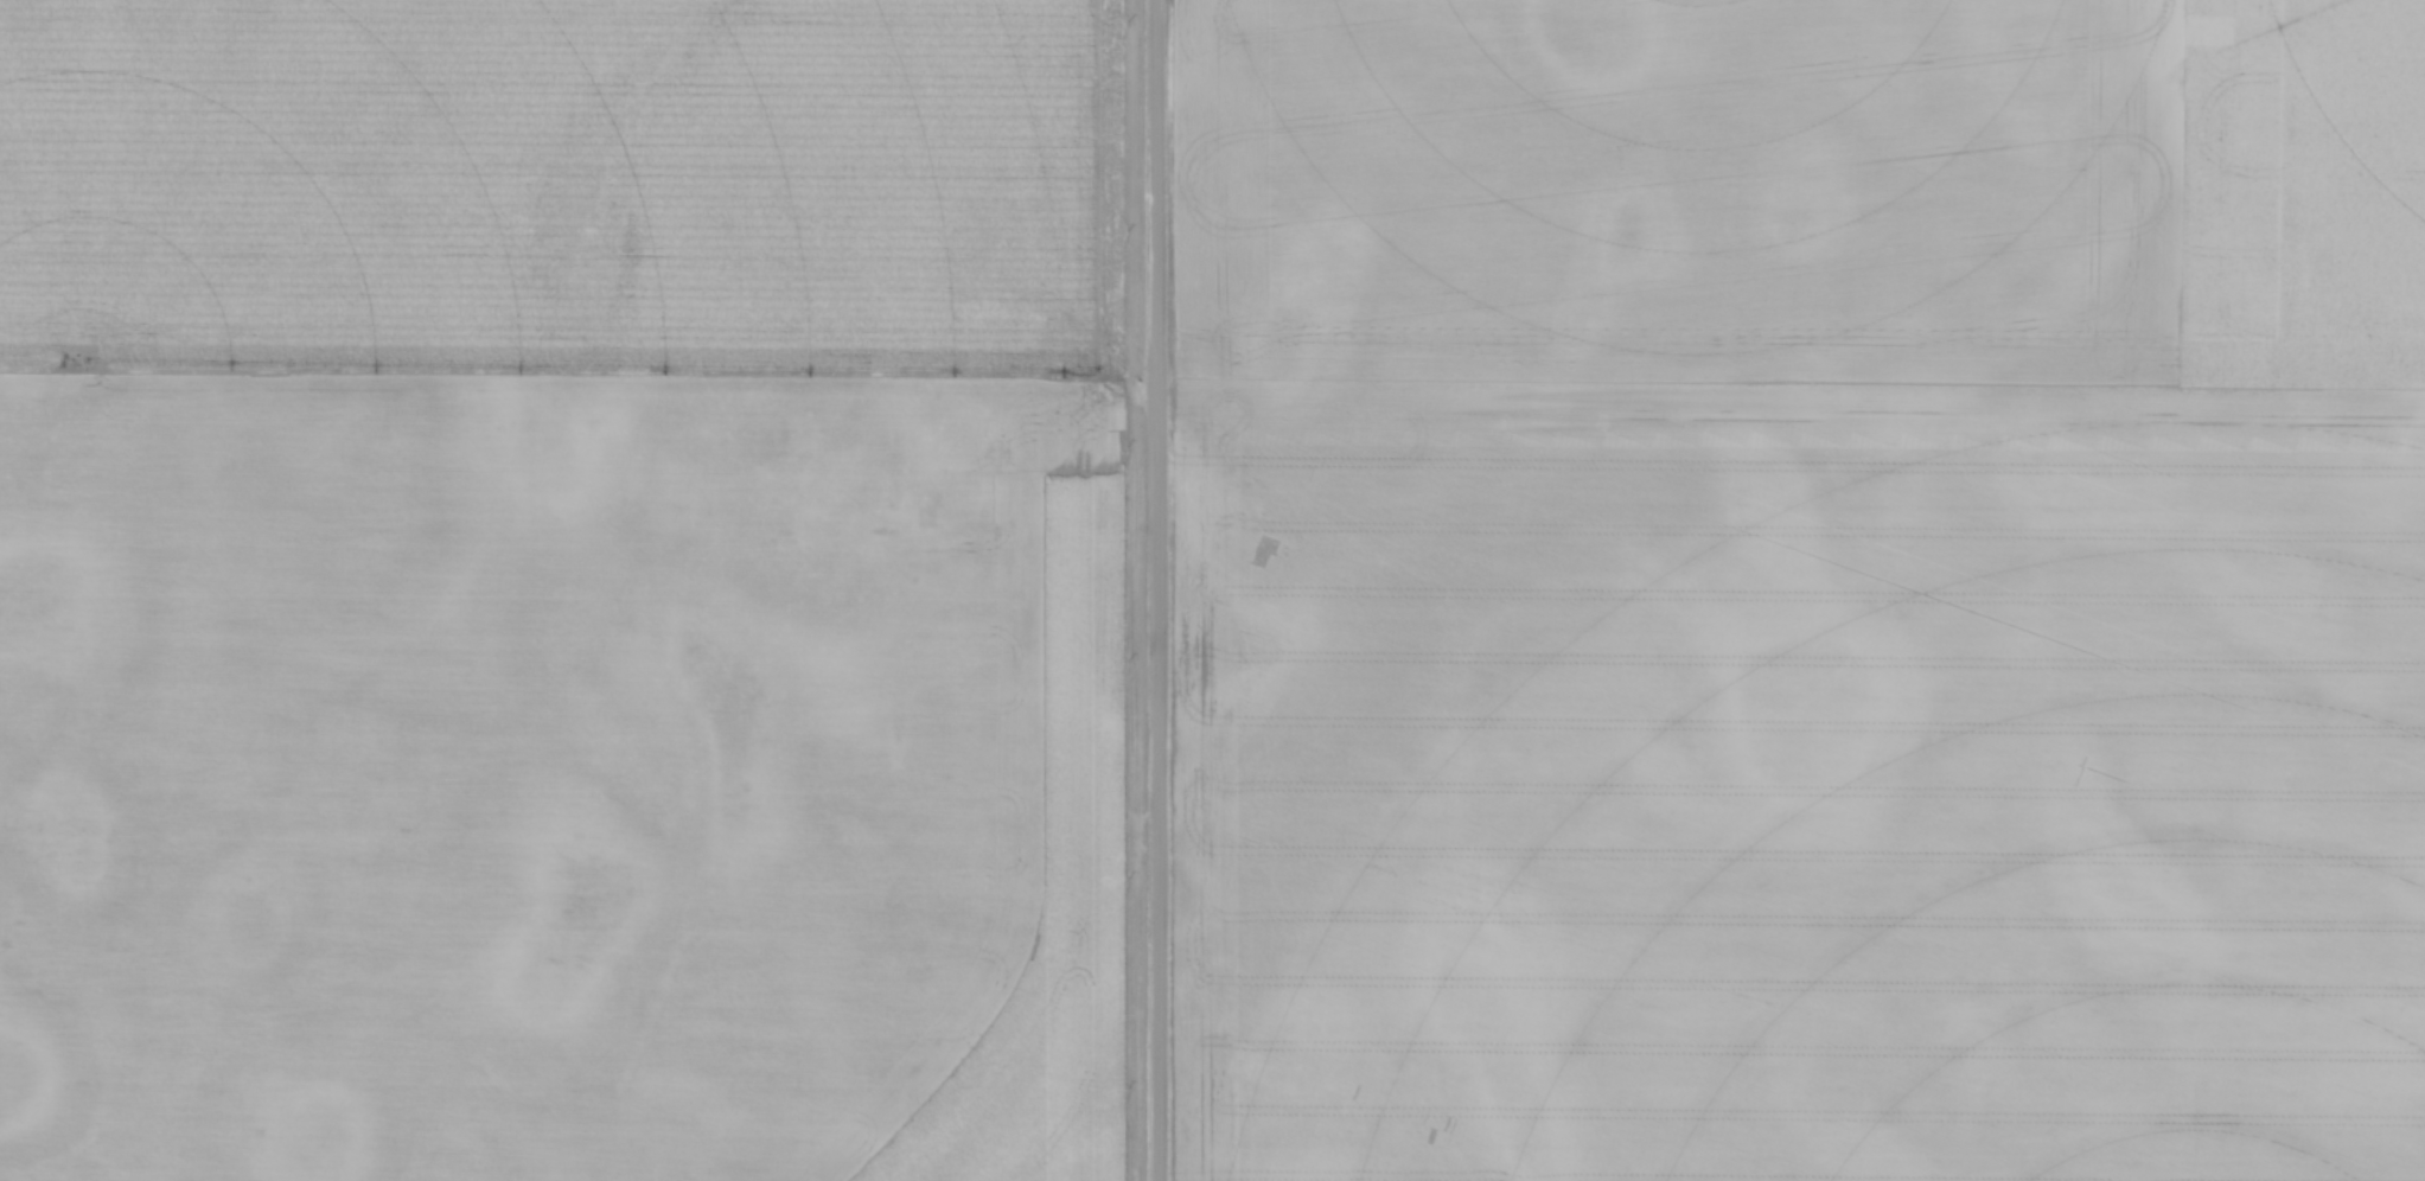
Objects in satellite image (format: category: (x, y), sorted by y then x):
road: (1154, 590)

